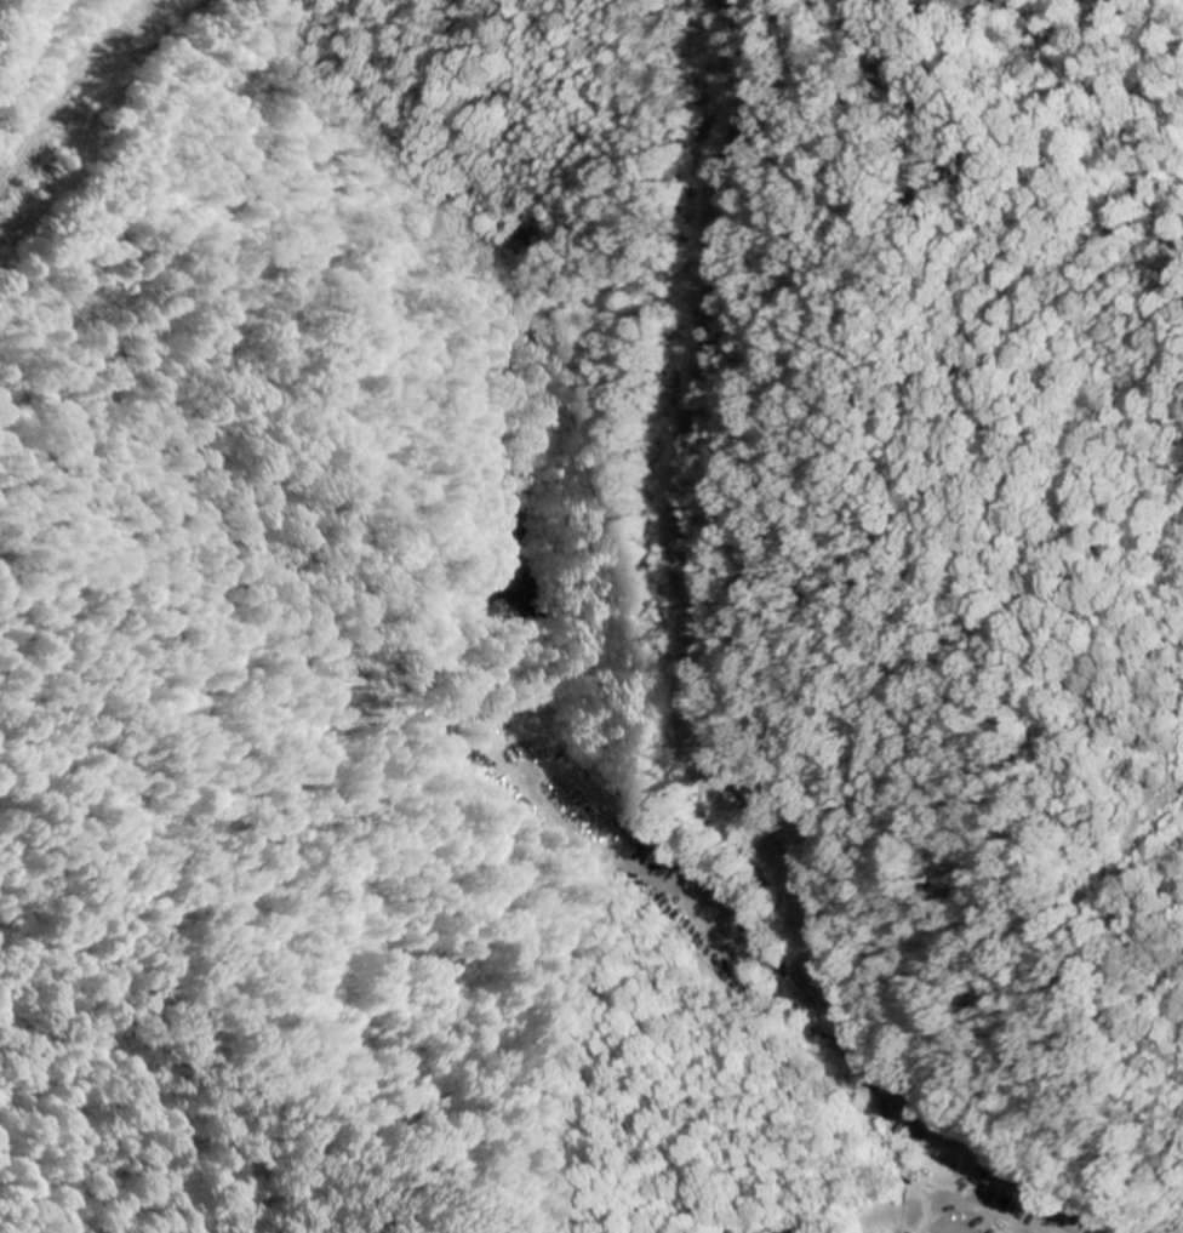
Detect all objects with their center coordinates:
road: (995, 1172)

